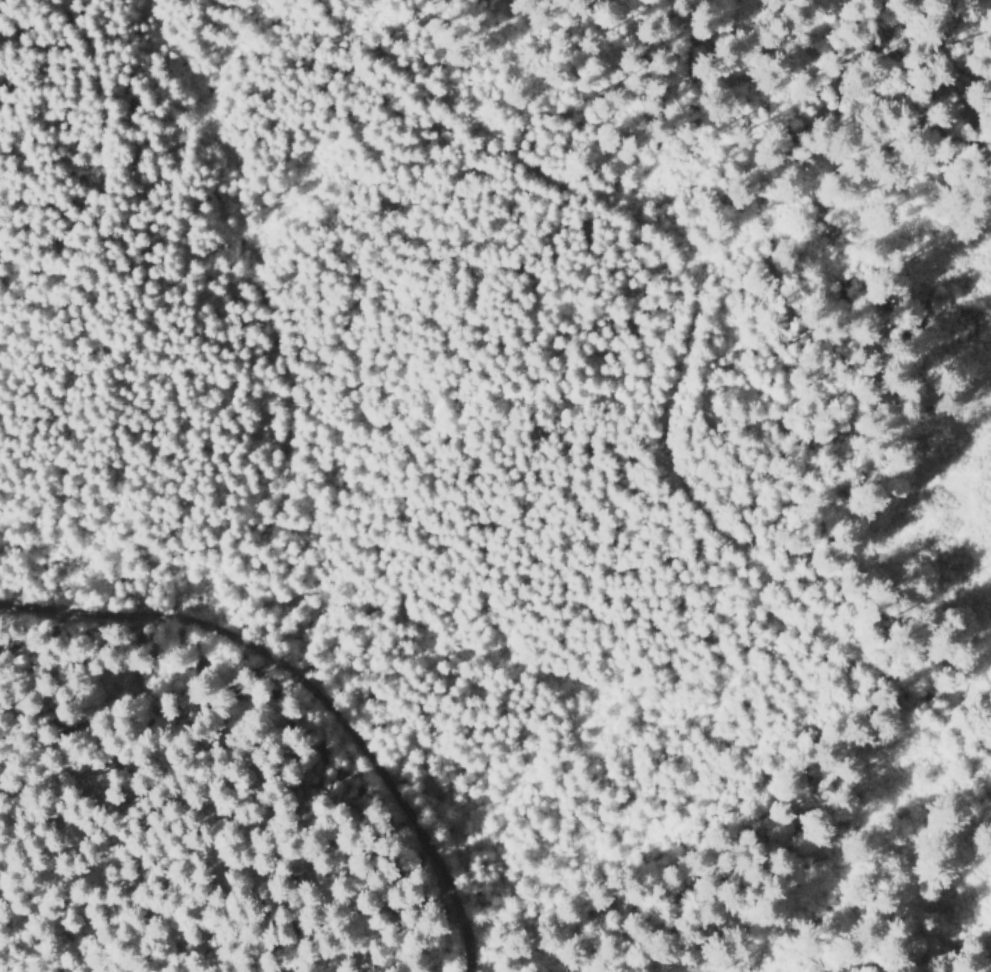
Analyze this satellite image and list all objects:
road: (309, 689)

